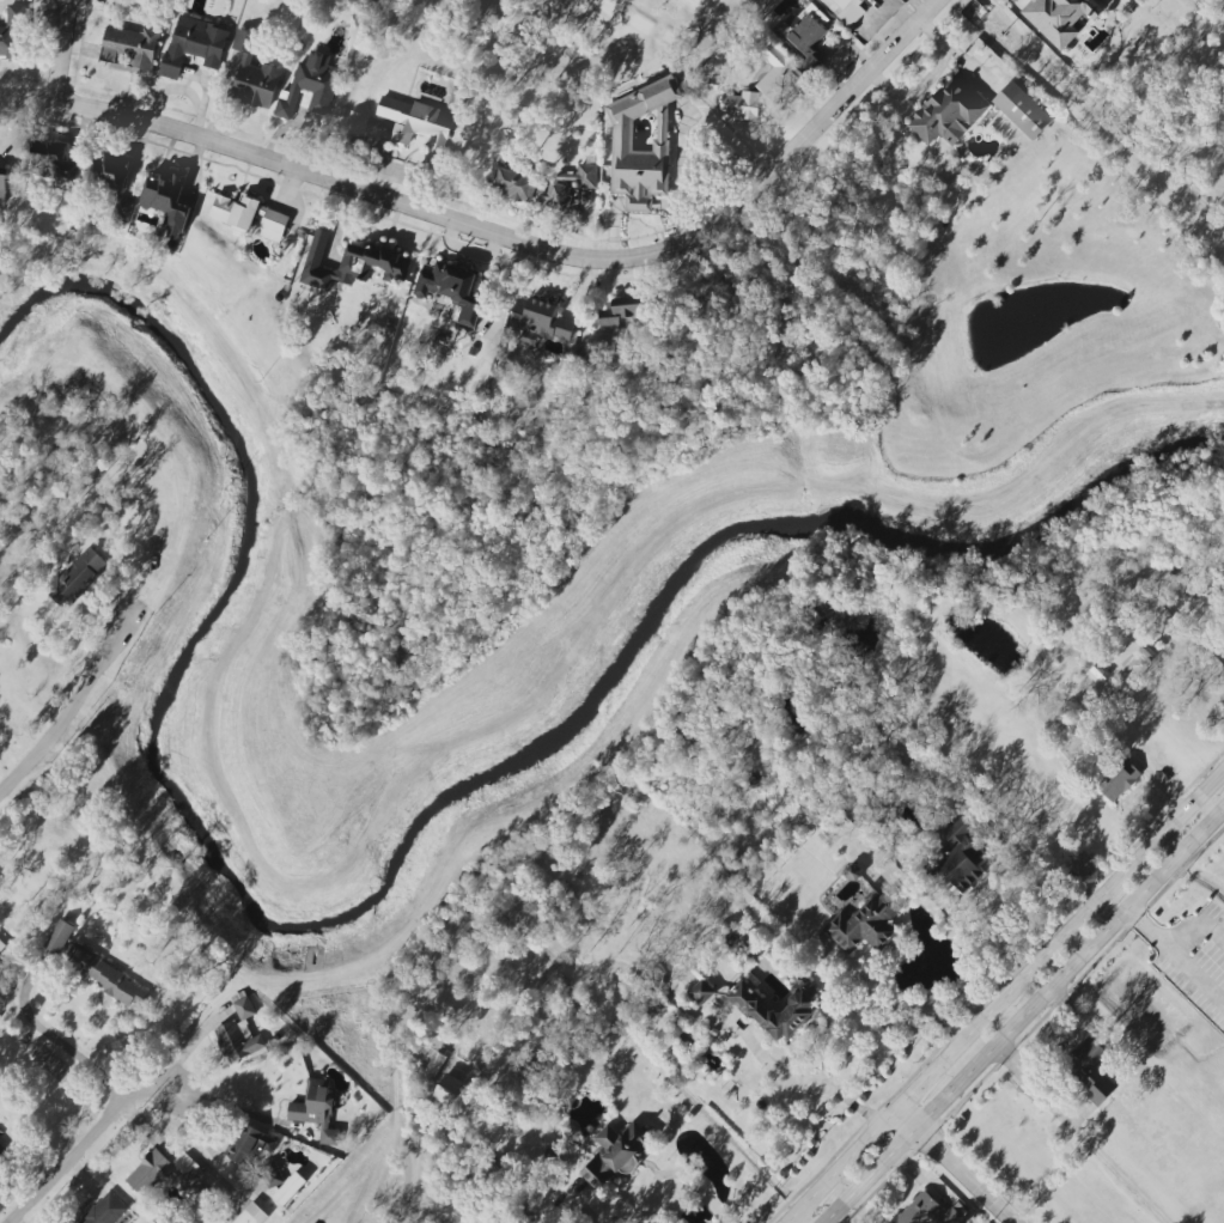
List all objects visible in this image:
building: (847, 10)
building: (1059, 18)
building: (12, 34)
building: (806, 35)
park: (560, 37)
building: (195, 44)
building: (130, 47)
road: (829, 48)
road: (57, 50)
building: (254, 74)
building: (779, 77)
building: (309, 86)
building: (741, 104)
building: (1022, 110)
building: (948, 112)
building: (415, 122)
building: (357, 124)
building: (641, 142)
building: (48, 162)
building: (111, 171)
building: (2, 185)
building: (544, 185)
building: (168, 200)
building: (122, 211)
building: (249, 215)
road: (511, 239)
building: (452, 291)
building: (540, 322)
building: (77, 577)
road: (72, 707)
building: (1119, 779)
building: (954, 827)
building: (956, 864)
building: (1083, 866)
river: (389, 884)
building: (867, 923)
road: (1199, 929)
road: (1150, 932)
building: (59, 936)
building: (1, 945)
road: (1199, 979)
building: (701, 992)
road: (1005, 996)
road: (908, 1008)
building: (773, 1011)
road: (1024, 1015)
building: (239, 1034)
road: (59, 1042)
building: (1089, 1067)
building: (447, 1089)
road: (217, 1102)
building: (316, 1111)
road: (1077, 1136)
building: (248, 1145)
building: (1, 1151)
road: (89, 1151)
building: (615, 1154)
building: (164, 1172)
road: (964, 1175)
road: (695, 1188)
building: (288, 1189)
building: (105, 1210)
building: (930, 1212)
building: (251, 1215)
road: (788, 1222)

